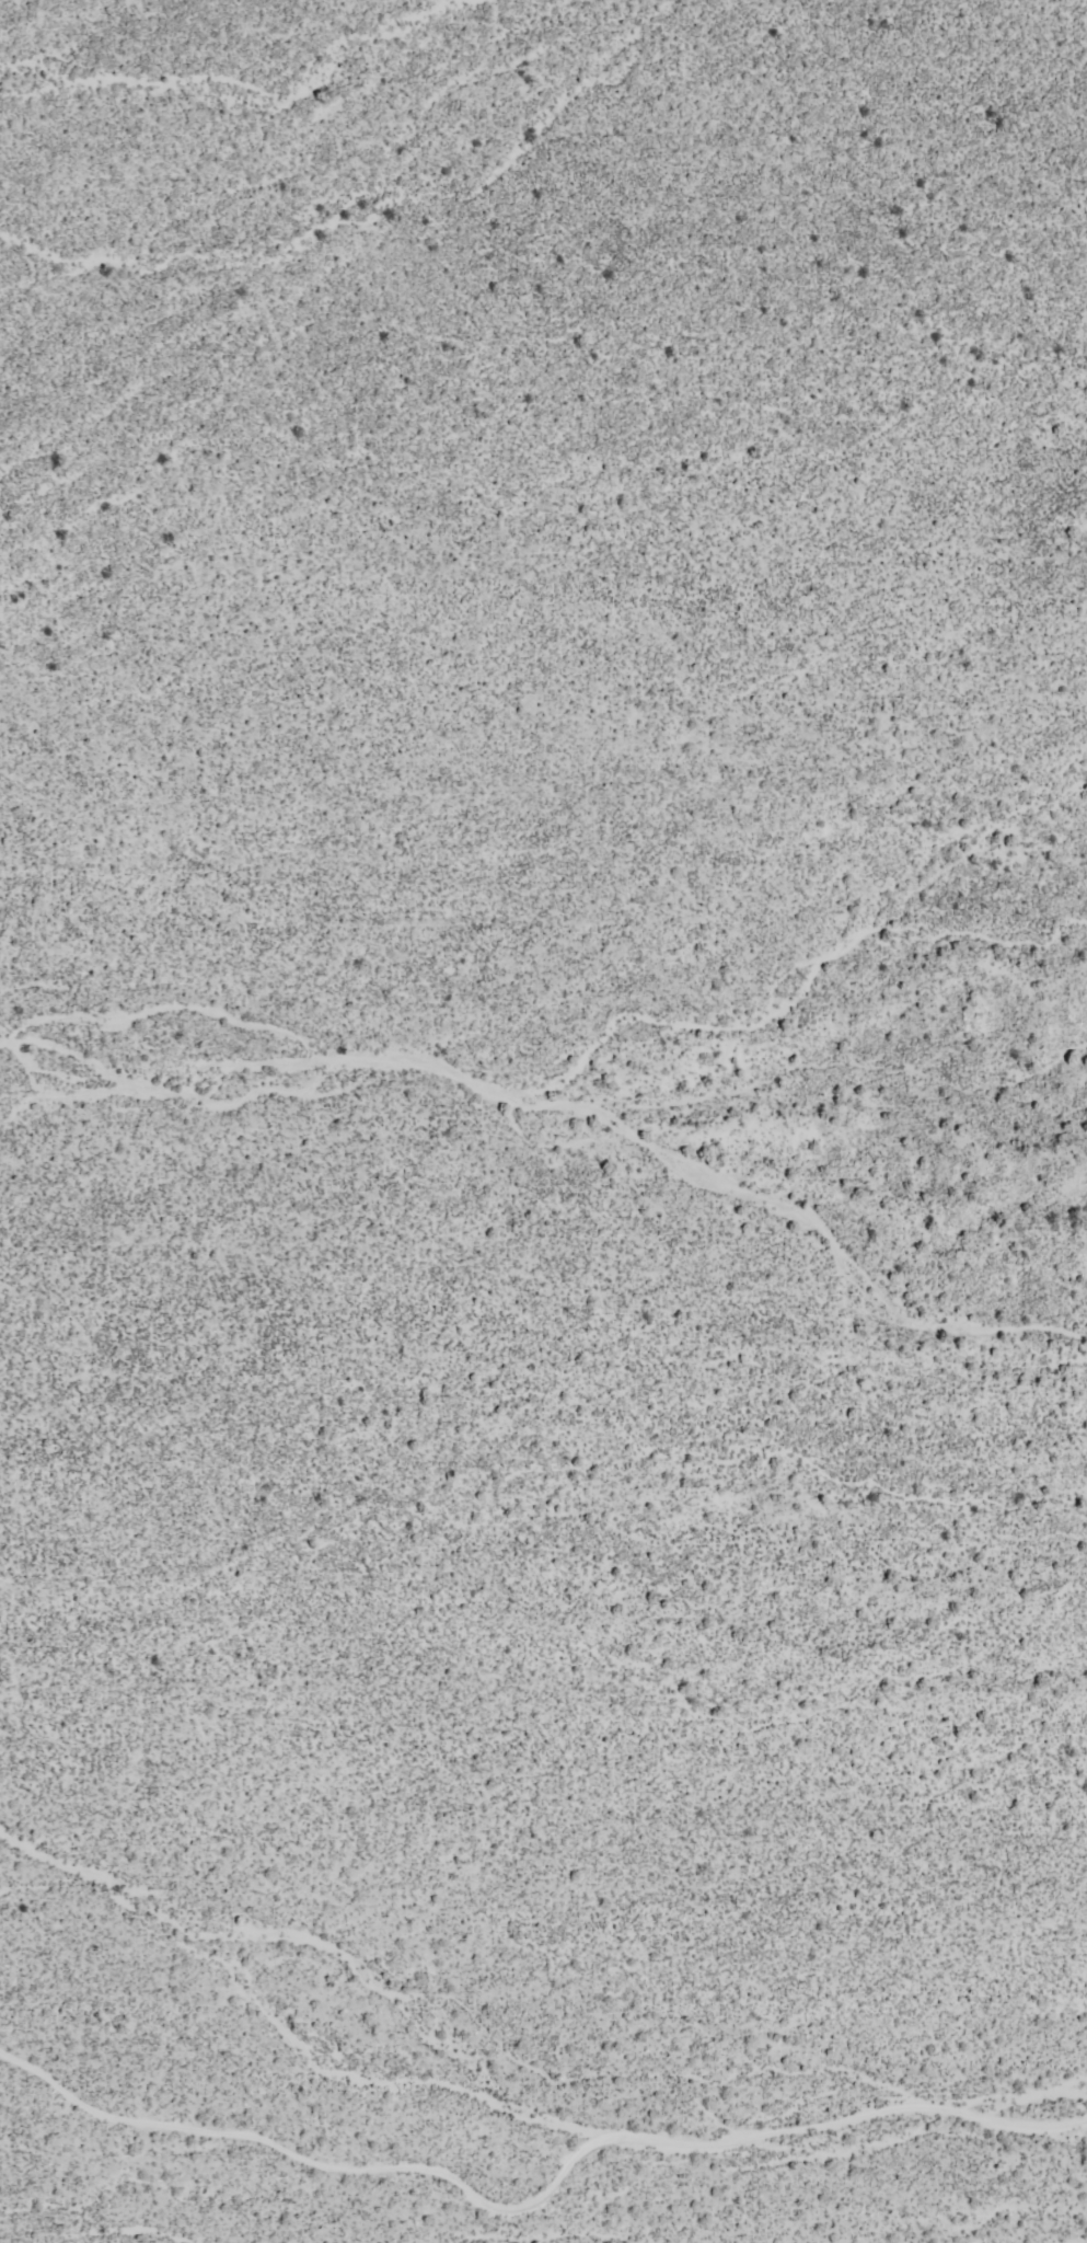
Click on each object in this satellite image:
road: (537, 2199)

